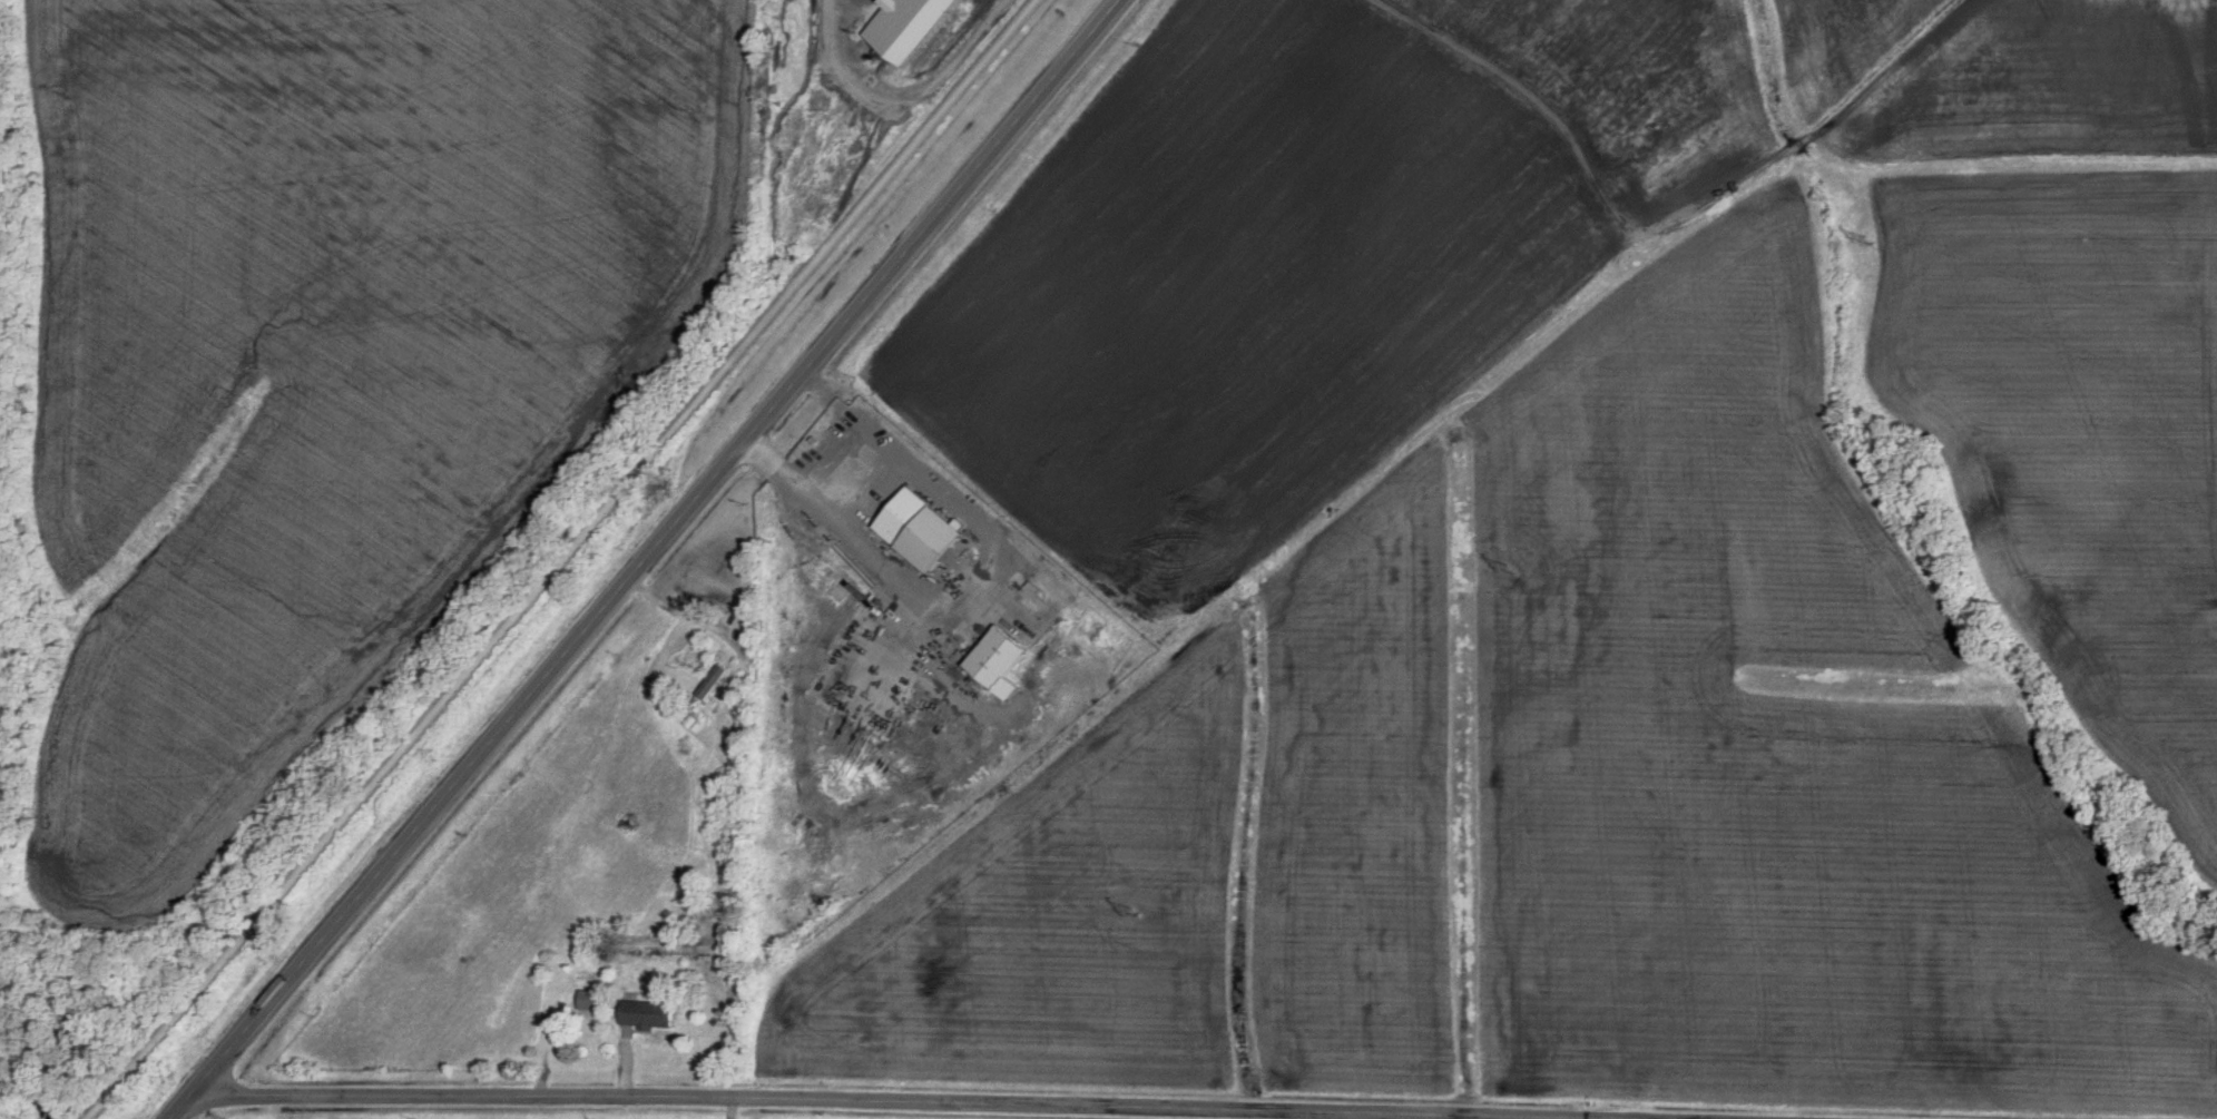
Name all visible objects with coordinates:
building: (905, 24)
crop: (1998, 81)
power tower: (1870, 246)
crop: (1302, 256)
building: (928, 528)
road: (645, 559)
road: (566, 560)
power tower: (1510, 569)
building: (1007, 655)
building: (717, 680)
crop: (1772, 745)
crop: (1204, 856)
power tower: (1135, 915)
building: (592, 1005)
building: (655, 1013)
road: (764, 1109)

